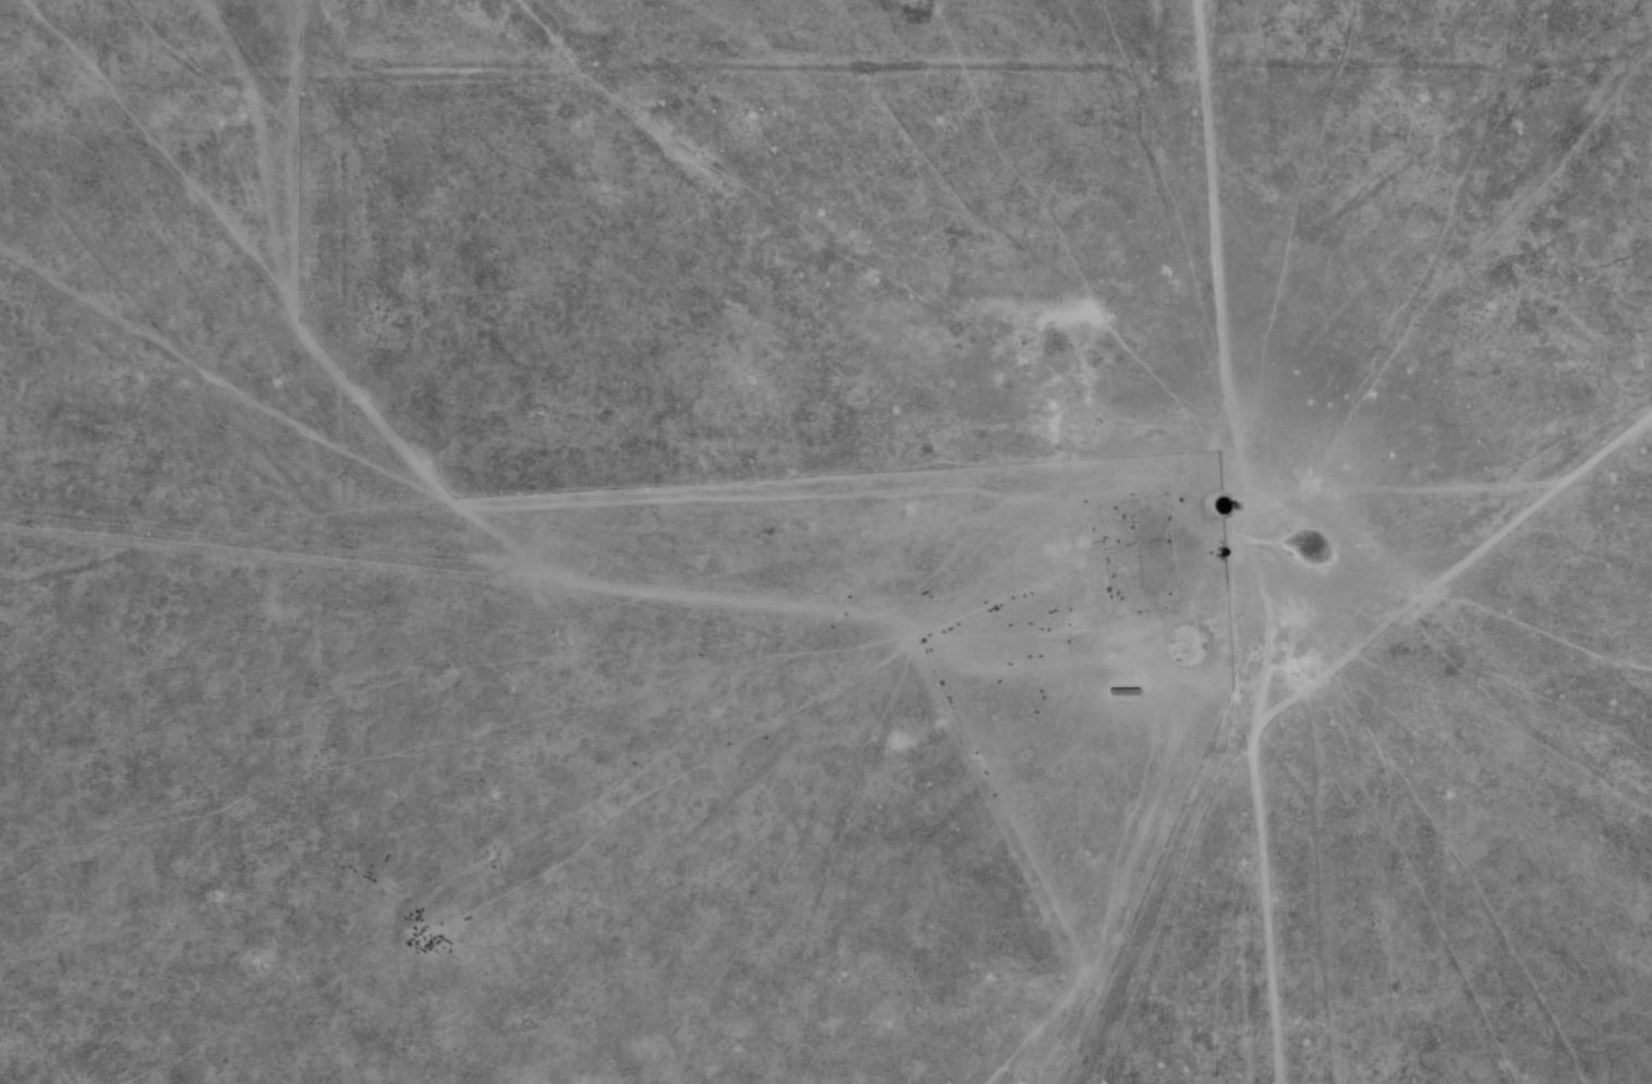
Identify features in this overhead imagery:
road: (1268, 889)

